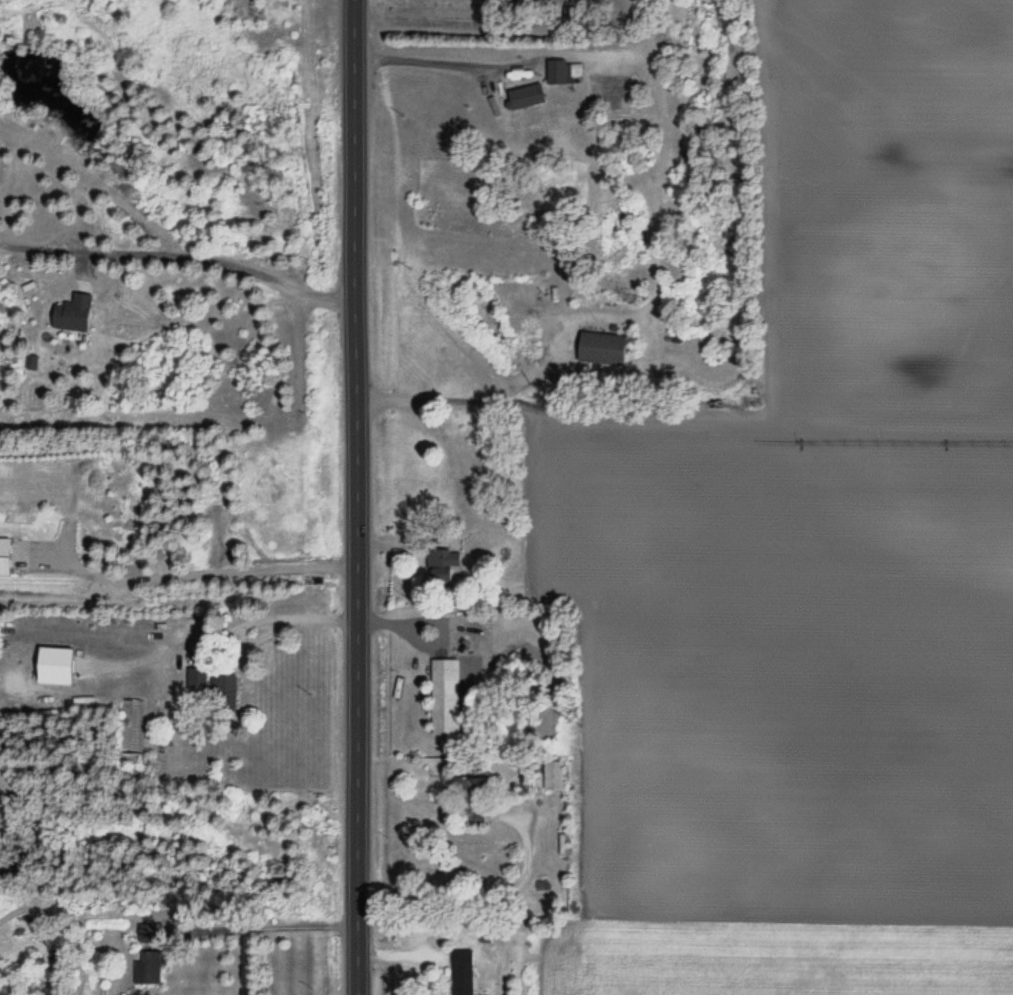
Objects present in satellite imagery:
park: (520, 19)
building: (564, 73)
road: (181, 256)
building: (76, 315)
building: (603, 349)
road: (356, 497)
building: (8, 557)
building: (441, 567)
building: (196, 680)
building: (224, 686)
building: (444, 698)
building: (558, 776)
building: (470, 789)
building: (151, 933)
building: (149, 968)
building: (464, 973)

